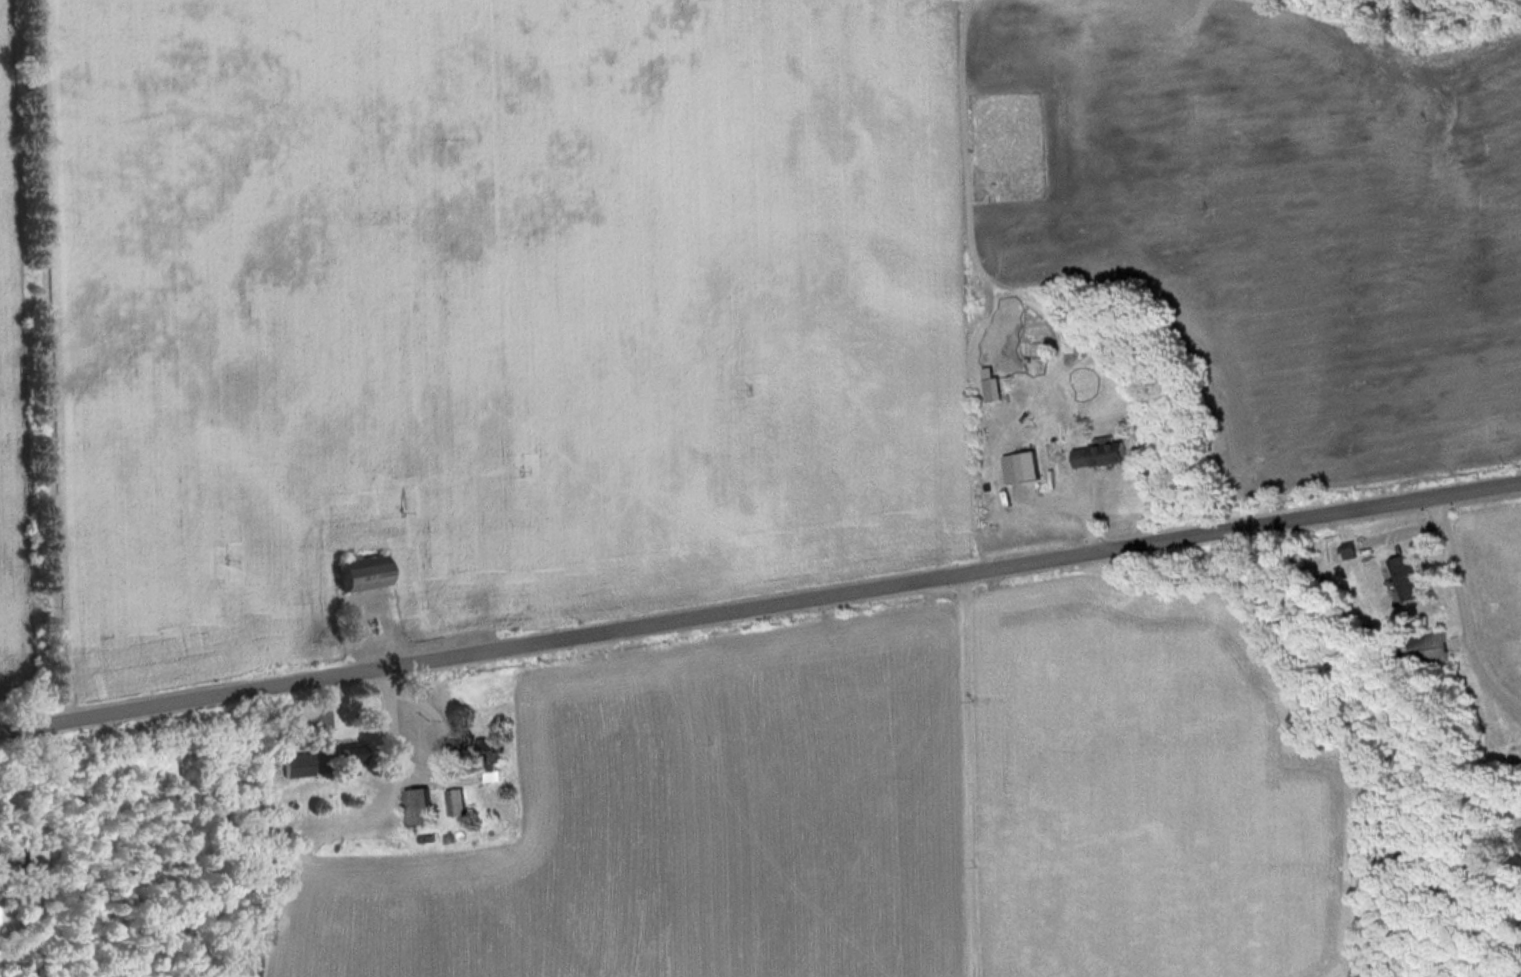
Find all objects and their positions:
building: (995, 384)
building: (1101, 453)
building: (1032, 464)
building: (369, 571)
building: (1404, 577)
road: (760, 610)
road: (1463, 613)
building: (1433, 646)
building: (491, 752)
building: (358, 754)
building: (299, 764)
road: (969, 777)
building: (457, 800)
building: (423, 805)

